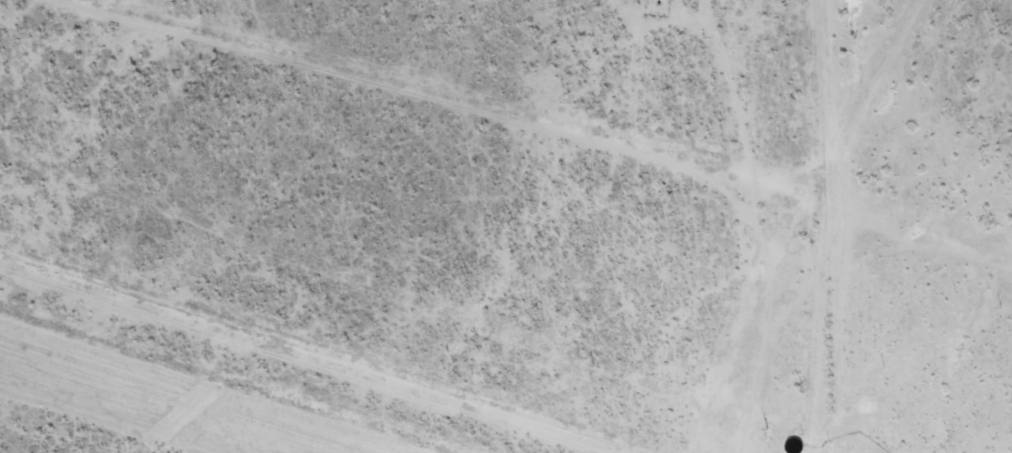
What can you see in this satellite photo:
road: (741, 89)

